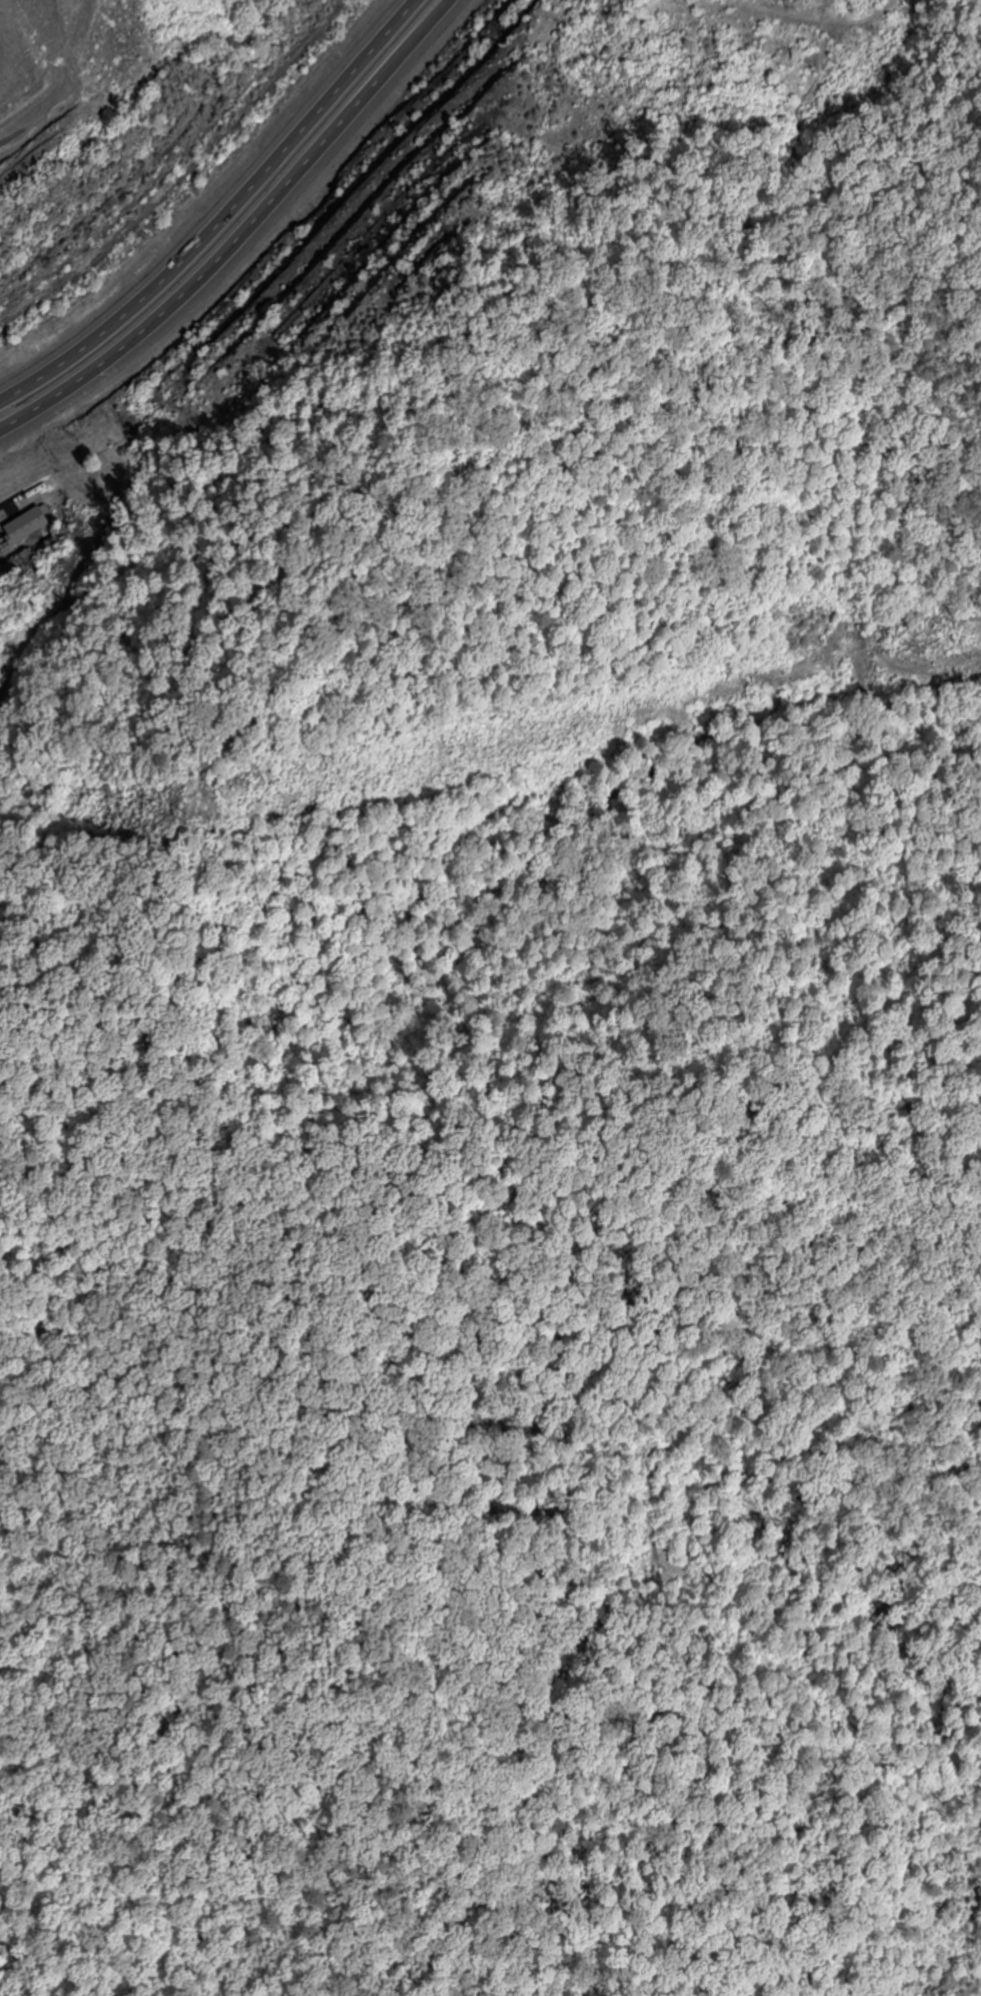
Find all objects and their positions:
road: (230, 225)
building: (25, 526)

